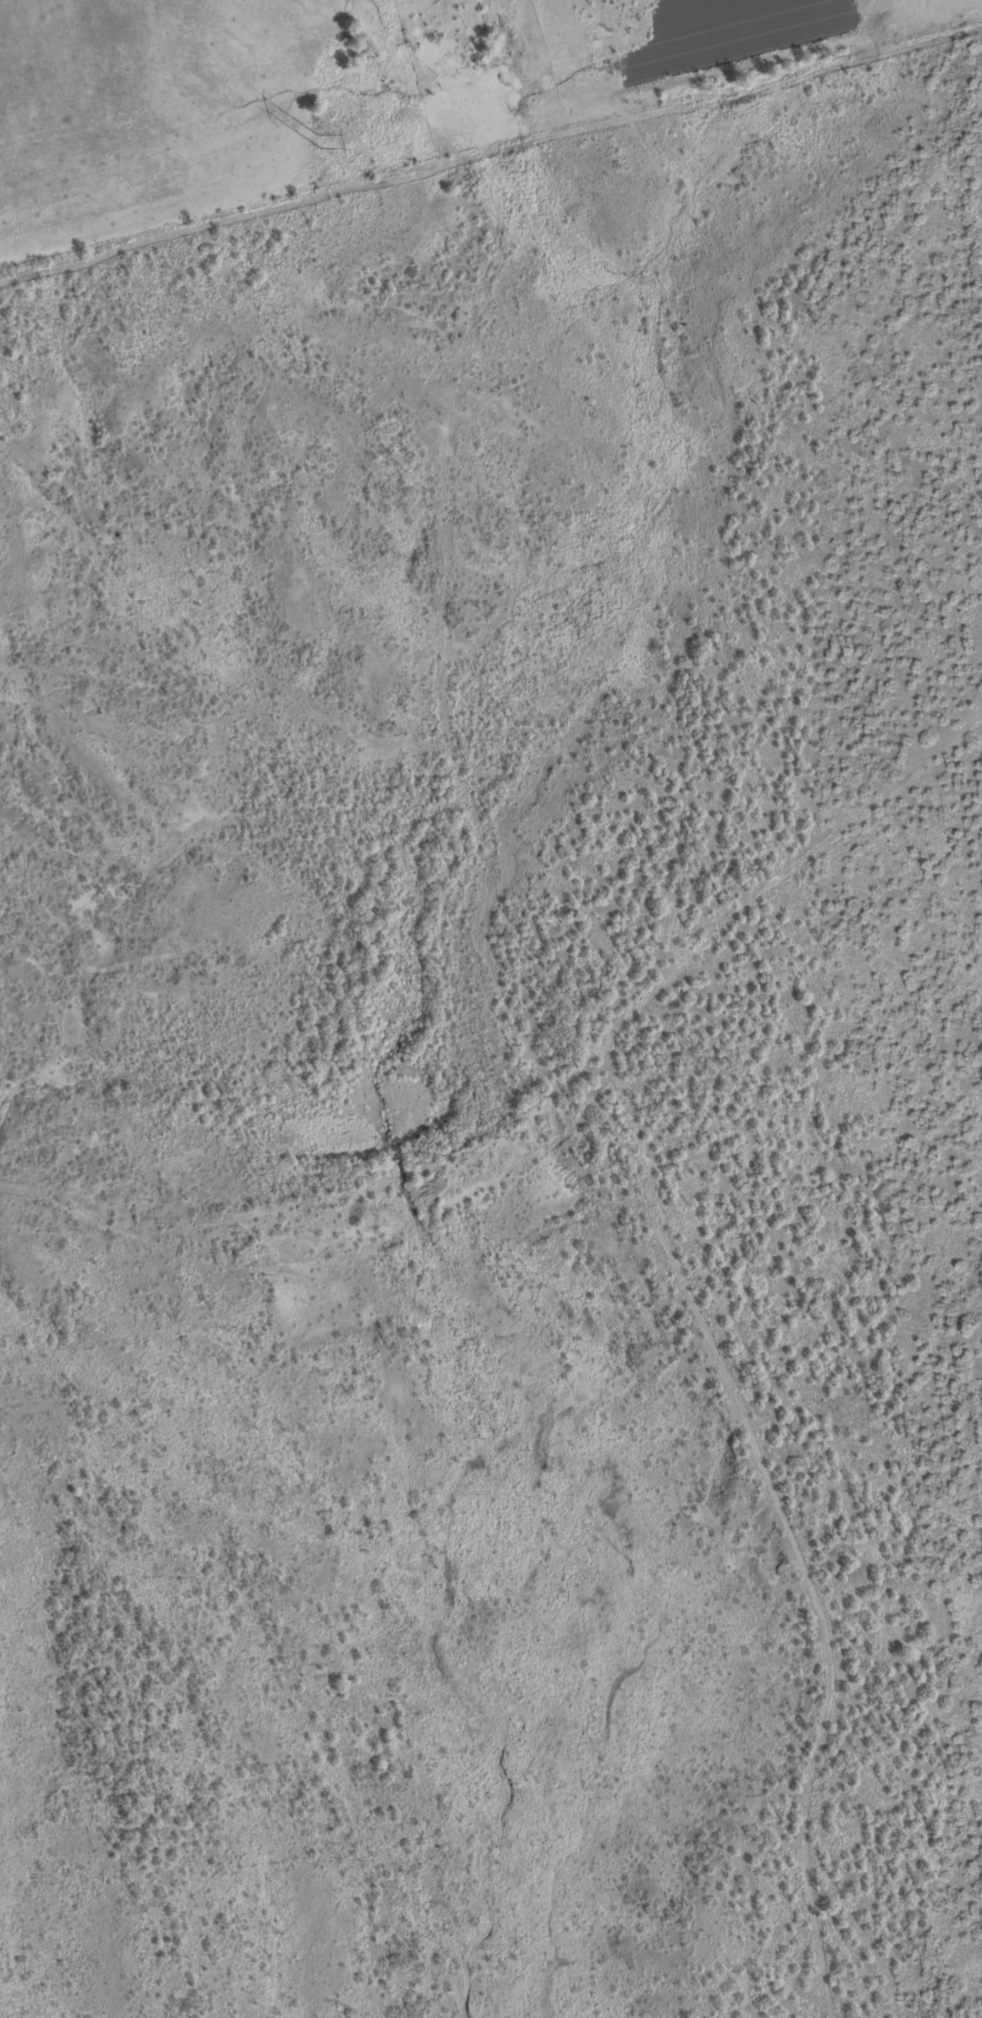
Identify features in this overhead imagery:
power tower: (316, 140)
road: (772, 1529)

